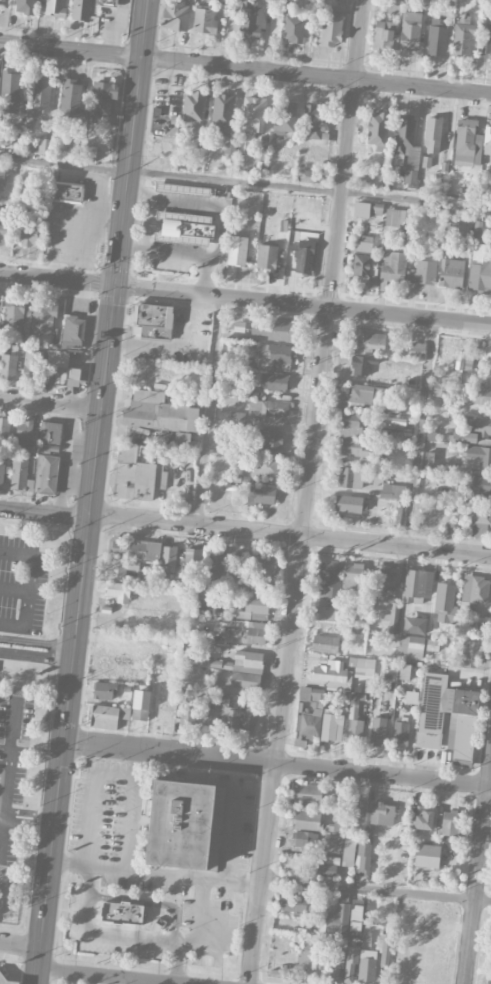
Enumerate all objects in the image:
building: (0, 3)
building: (110, 3)
building: (25, 6)
building: (394, 6)
building: (56, 7)
building: (83, 10)
building: (175, 14)
building: (249, 17)
building: (204, 19)
building: (293, 27)
building: (332, 28)
building: (410, 31)
building: (382, 33)
building: (484, 35)
building: (436, 39)
building: (463, 39)
road: (245, 68)
building: (10, 83)
building: (41, 94)
building: (102, 97)
building: (70, 98)
building: (192, 108)
building: (222, 113)
building: (253, 115)
building: (283, 117)
building: (315, 121)
building: (376, 129)
building: (404, 134)
building: (432, 134)
building: (5, 138)
building: (470, 142)
building: (43, 143)
building: (162, 147)
building: (229, 148)
building: (90, 152)
building: (429, 162)
building: (309, 175)
building: (375, 178)
building: (2, 179)
road: (245, 183)
building: (182, 189)
building: (67, 193)
building: (366, 208)
building: (398, 217)
building: (2, 225)
building: (185, 229)
building: (477, 230)
building: (458, 234)
building: (28, 236)
building: (236, 249)
building: (363, 255)
building: (267, 257)
building: (304, 257)
building: (393, 265)
building: (422, 271)
building: (450, 272)
building: (479, 273)
road: (57, 279)
traffic signals: (114, 286)
building: (0, 304)
road: (302, 305)
building: (14, 315)
building: (0, 316)
building: (43, 318)
building: (153, 321)
building: (271, 330)
building: (73, 332)
building: (368, 340)
building: (416, 349)
building: (273, 356)
building: (488, 357)
building: (464, 358)
building: (29, 363)
building: (362, 364)
building: (9, 366)
building: (61, 368)
building: (141, 369)
building: (274, 382)
building: (360, 396)
building: (482, 396)
road: (50, 402)
building: (267, 408)
road: (210, 410)
building: (157, 412)
building: (4, 426)
building: (477, 429)
building: (26, 432)
building: (51, 432)
road: (421, 434)
building: (352, 435)
building: (270, 440)
building: (476, 456)
building: (383, 463)
building: (264, 467)
building: (1, 474)
building: (19, 474)
building: (49, 474)
building: (136, 475)
building: (349, 477)
building: (477, 484)
road: (91, 491)
building: (392, 491)
road: (308, 492)
building: (263, 494)
building: (348, 503)
road: (44, 512)
building: (398, 516)
building: (478, 522)
road: (290, 534)
building: (139, 554)
building: (192, 560)
building: (241, 563)
building: (216, 565)
building: (267, 568)
building: (352, 576)
building: (329, 579)
building: (417, 586)
road: (28, 587)
building: (474, 589)
building: (119, 591)
building: (386, 592)
building: (443, 597)
building: (256, 607)
building: (324, 613)
building: (253, 632)
road: (37, 642)
building: (411, 642)
building: (325, 644)
building: (432, 645)
building: (470, 653)
road: (37, 656)
building: (247, 669)
building: (404, 671)
building: (338, 672)
building: (104, 690)
building: (140, 705)
building: (187, 714)
building: (106, 715)
building: (210, 715)
building: (249, 716)
building: (231, 717)
building: (318, 718)
building: (354, 718)
building: (448, 718)
building: (377, 732)
building: (401, 733)
road: (277, 763)
road: (6, 783)
building: (306, 793)
road: (91, 803)
building: (359, 809)
building: (382, 813)
building: (420, 817)
building: (311, 819)
building: (450, 822)
building: (184, 825)
road: (1, 829)
building: (303, 841)
road: (127, 843)
building: (348, 851)
building: (427, 855)
building: (363, 857)
building: (326, 869)
road: (169, 874)
road: (478, 875)
road: (376, 889)
building: (4, 890)
road: (202, 894)
building: (292, 904)
building: (123, 912)
building: (344, 913)
road: (115, 939)
road: (20, 944)
building: (385, 950)
building: (305, 958)
building: (338, 958)
building: (350, 964)
building: (366, 965)
building: (486, 971)
building: (1, 974)
road: (107, 976)
road: (117, 981)

